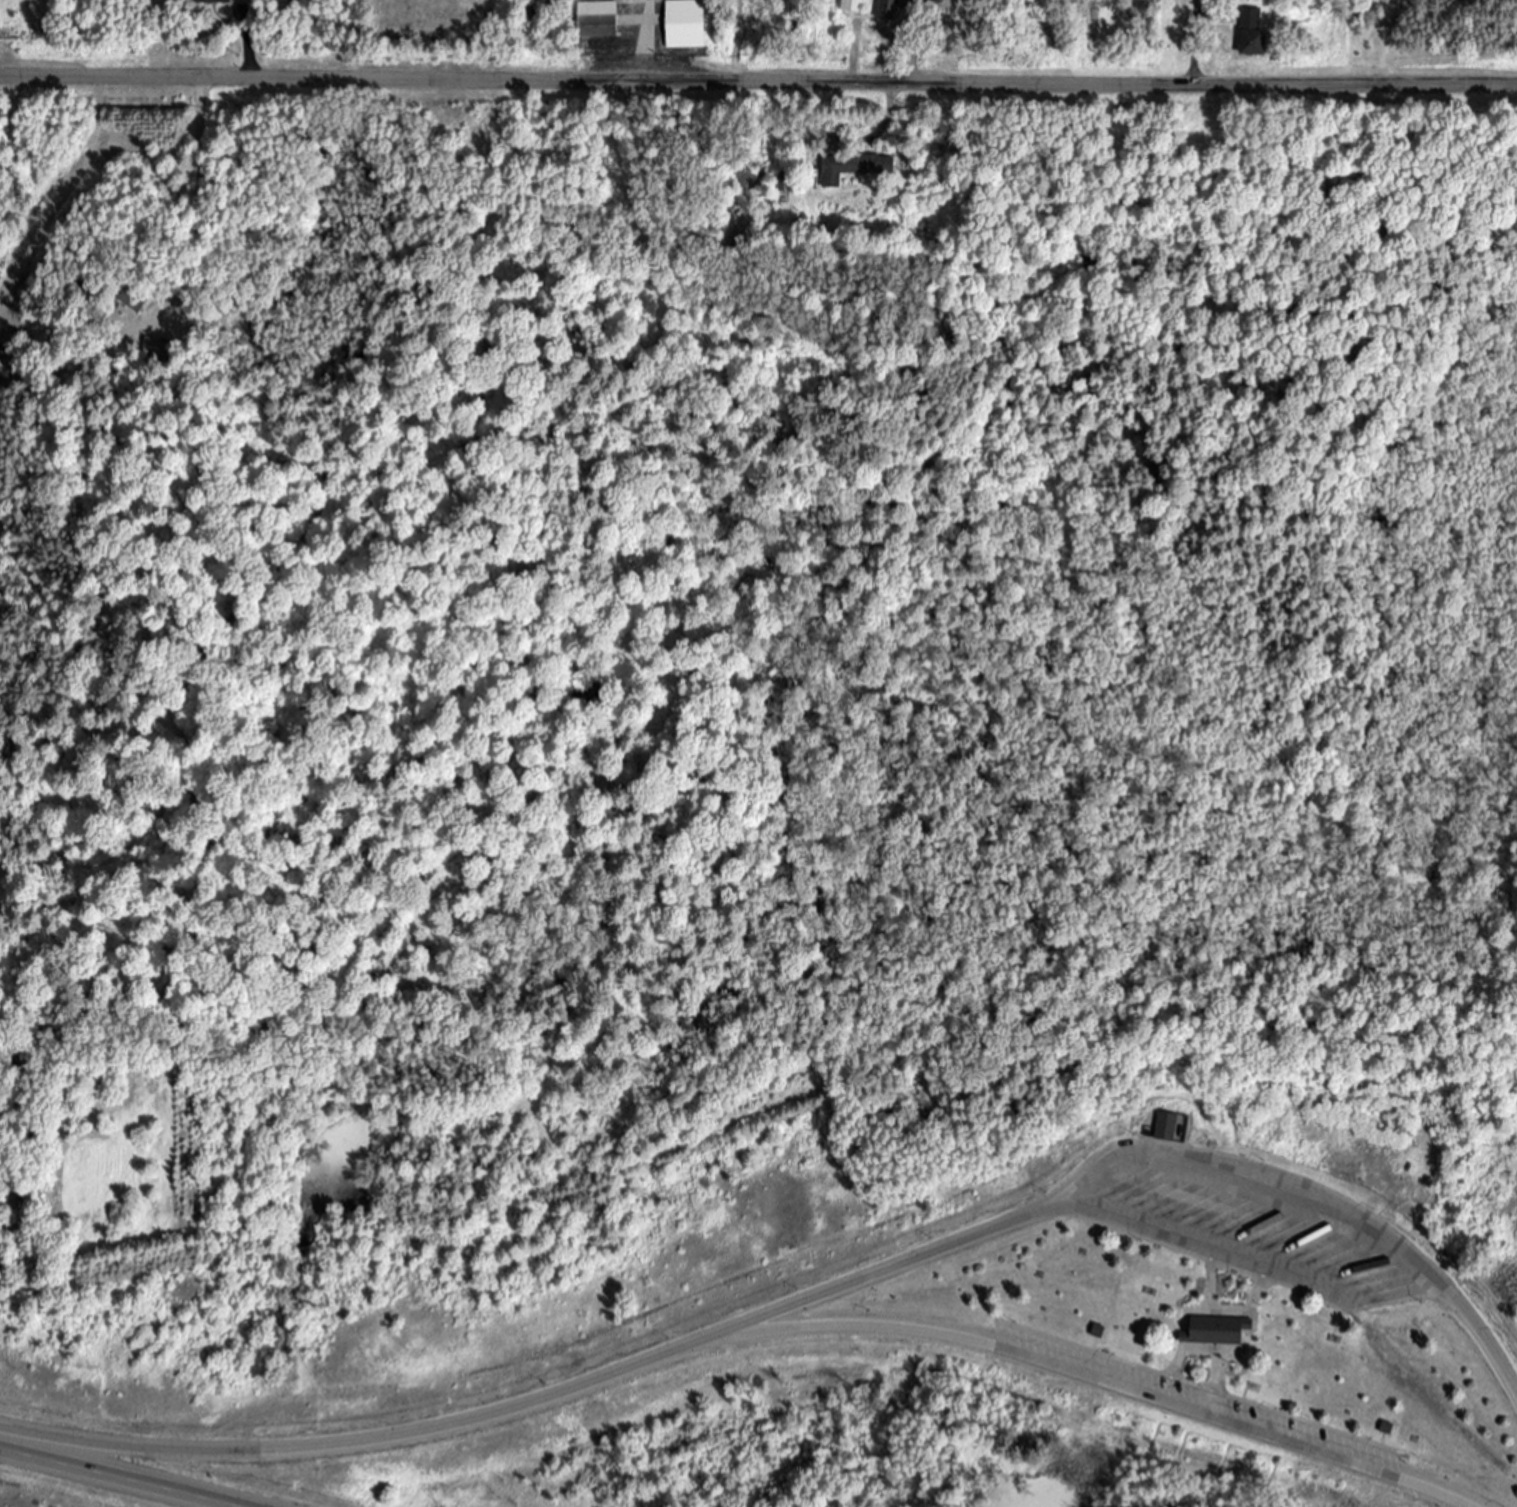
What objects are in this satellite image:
building: (214, 3)
building: (852, 6)
building: (890, 10)
building: (597, 19)
building: (685, 24)
building: (1253, 33)
road: (1387, 39)
road: (646, 41)
road: (918, 42)
road: (1195, 43)
road: (245, 52)
road: (758, 83)
building: (853, 167)
building: (1170, 1125)
road: (1148, 1156)
parking lot: (1260, 1232)
building: (1220, 1331)
road: (1105, 1377)
parking lot: (1201, 1398)
road: (368, 1449)
road: (115, 1478)

